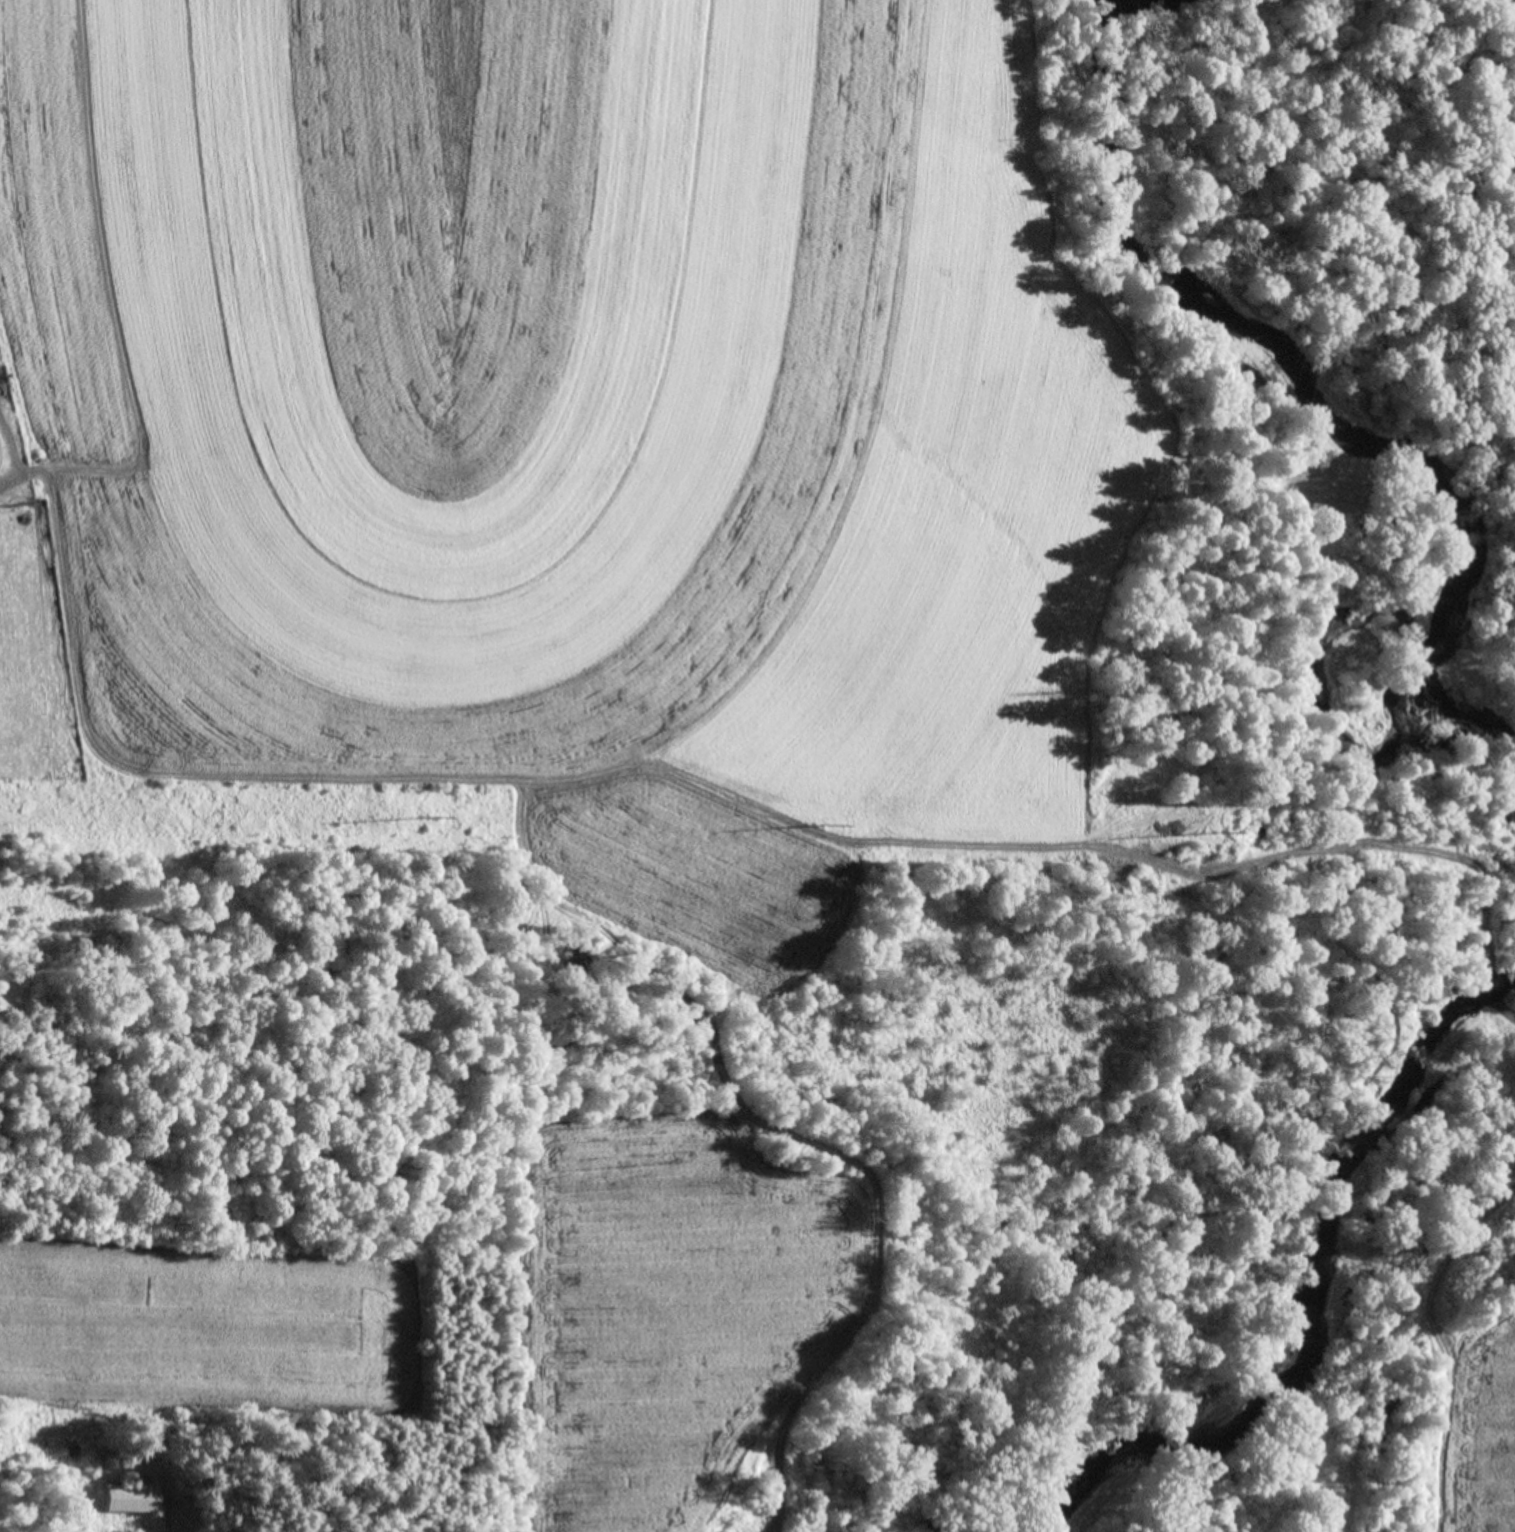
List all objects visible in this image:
river: (1362, 433)
building: (1257, 674)
river: (1350, 1305)
building: (128, 1500)
road: (164, 1515)

